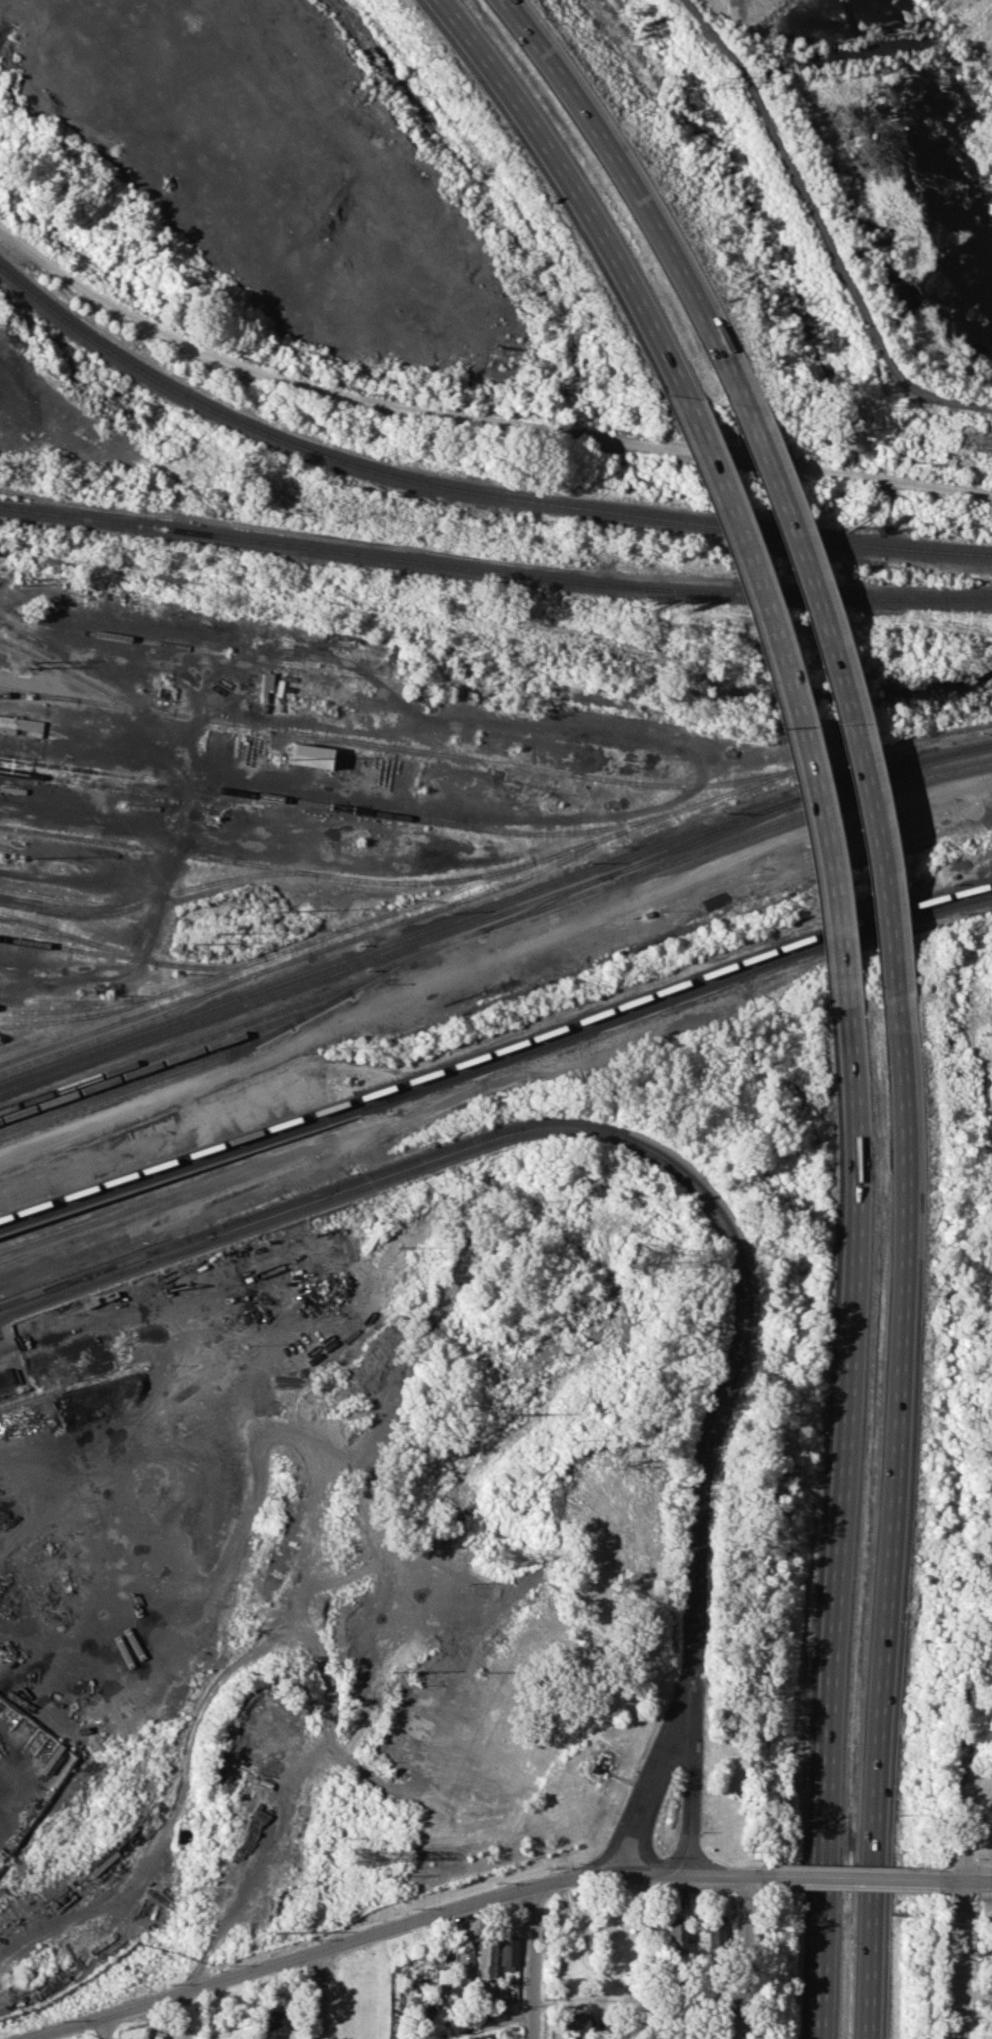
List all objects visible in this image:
power tower: (715, 80)
road: (624, 176)
road: (568, 183)
road: (824, 226)
power tower: (873, 407)
road: (474, 424)
railway: (468, 492)
railway: (494, 571)
power tower: (12, 580)
railway: (498, 627)
power tower: (20, 663)
road: (837, 673)
railway: (88, 681)
road: (786, 688)
railway: (401, 747)
building: (309, 755)
railway: (889, 768)
railway: (149, 791)
railway: (339, 806)
railway: (535, 863)
railway: (268, 865)
railway: (157, 897)
railway: (79, 901)
railway: (546, 901)
railway: (62, 904)
power tower: (268, 911)
railway: (28, 922)
railway: (48, 926)
railway: (486, 926)
railway: (79, 939)
railway: (394, 940)
railway: (52, 945)
power tower: (195, 945)
railway: (396, 950)
railway: (315, 951)
railway: (88, 953)
railway: (184, 964)
railway: (670, 986)
railway: (672, 997)
railway: (66, 1000)
railway: (114, 1001)
railway: (28, 1009)
railway: (41, 1017)
railway: (62, 1018)
railway: (127, 1027)
power tower: (982, 1032)
railway: (201, 1038)
railway: (172, 1058)
railway: (147, 1075)
railway: (176, 1157)
railway: (178, 1168)
road: (684, 1172)
power tower: (402, 1249)
power tower: (644, 1258)
railway: (70, 1386)
power tower: (519, 1414)
road: (891, 1515)
road: (841, 1523)
power tower: (502, 1557)
power tower: (391, 1675)
road: (655, 1774)
road: (966, 1840)
power tower: (361, 1859)
road: (862, 1878)
road: (966, 1881)
road: (404, 1928)
building: (715, 1932)
power tower: (273, 1933)
building: (677, 1933)
building: (507, 1952)
road: (743, 1957)
building: (486, 1958)
road: (533, 1963)
building: (464, 1964)
building: (443, 1975)
road: (317, 1997)
building: (574, 2023)
building: (275, 2026)
road: (99, 2029)
building: (158, 2035)

